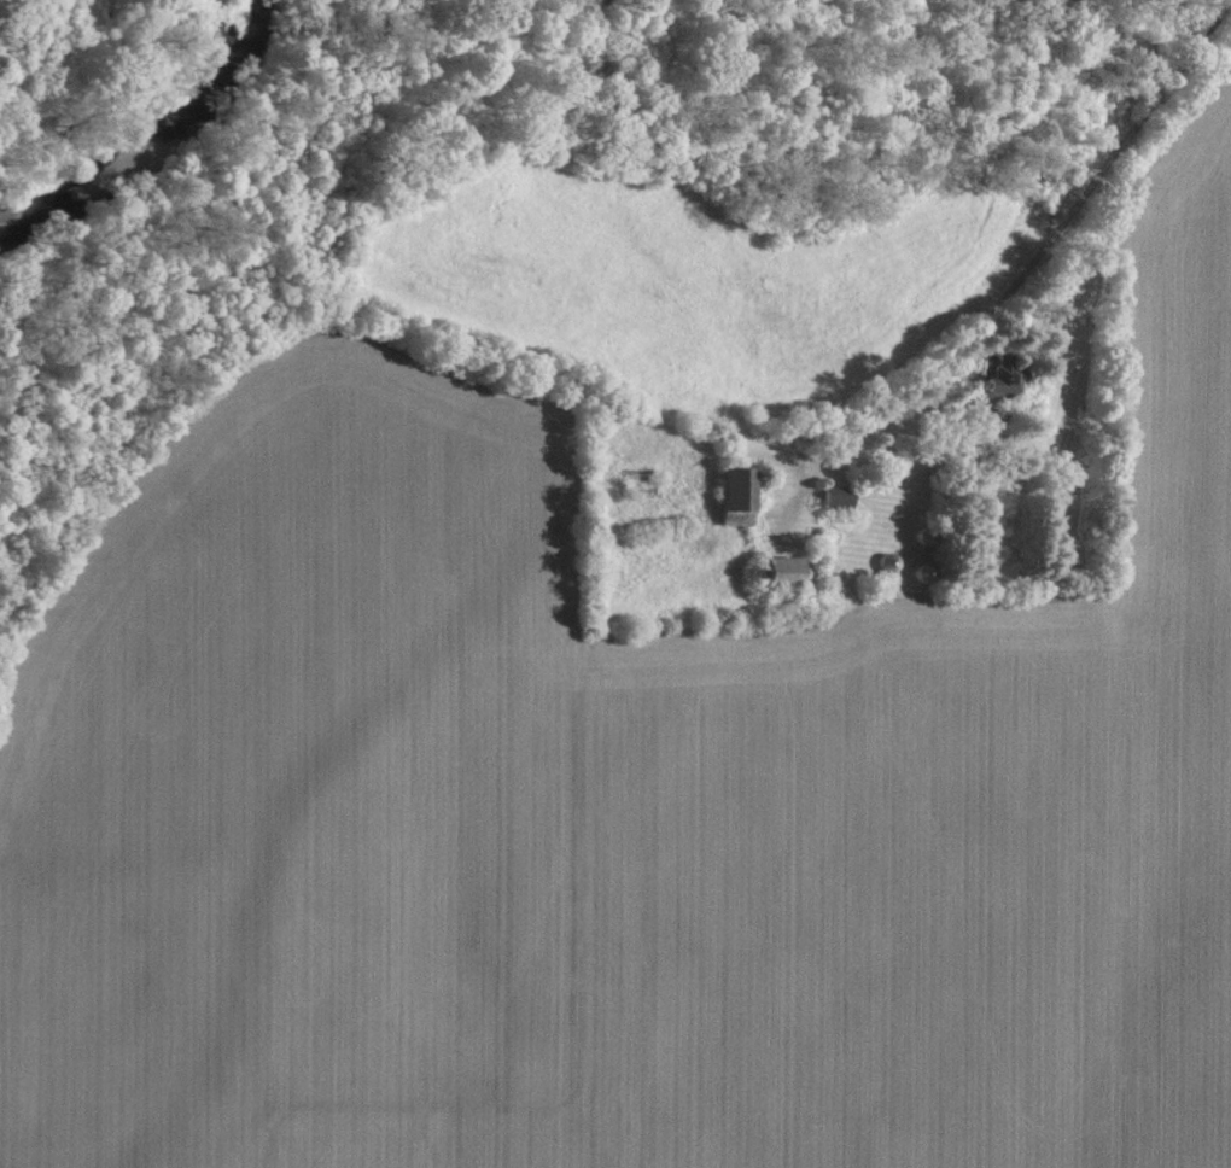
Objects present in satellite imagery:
building: (998, 381)
building: (733, 496)
building: (836, 500)
building: (778, 571)

